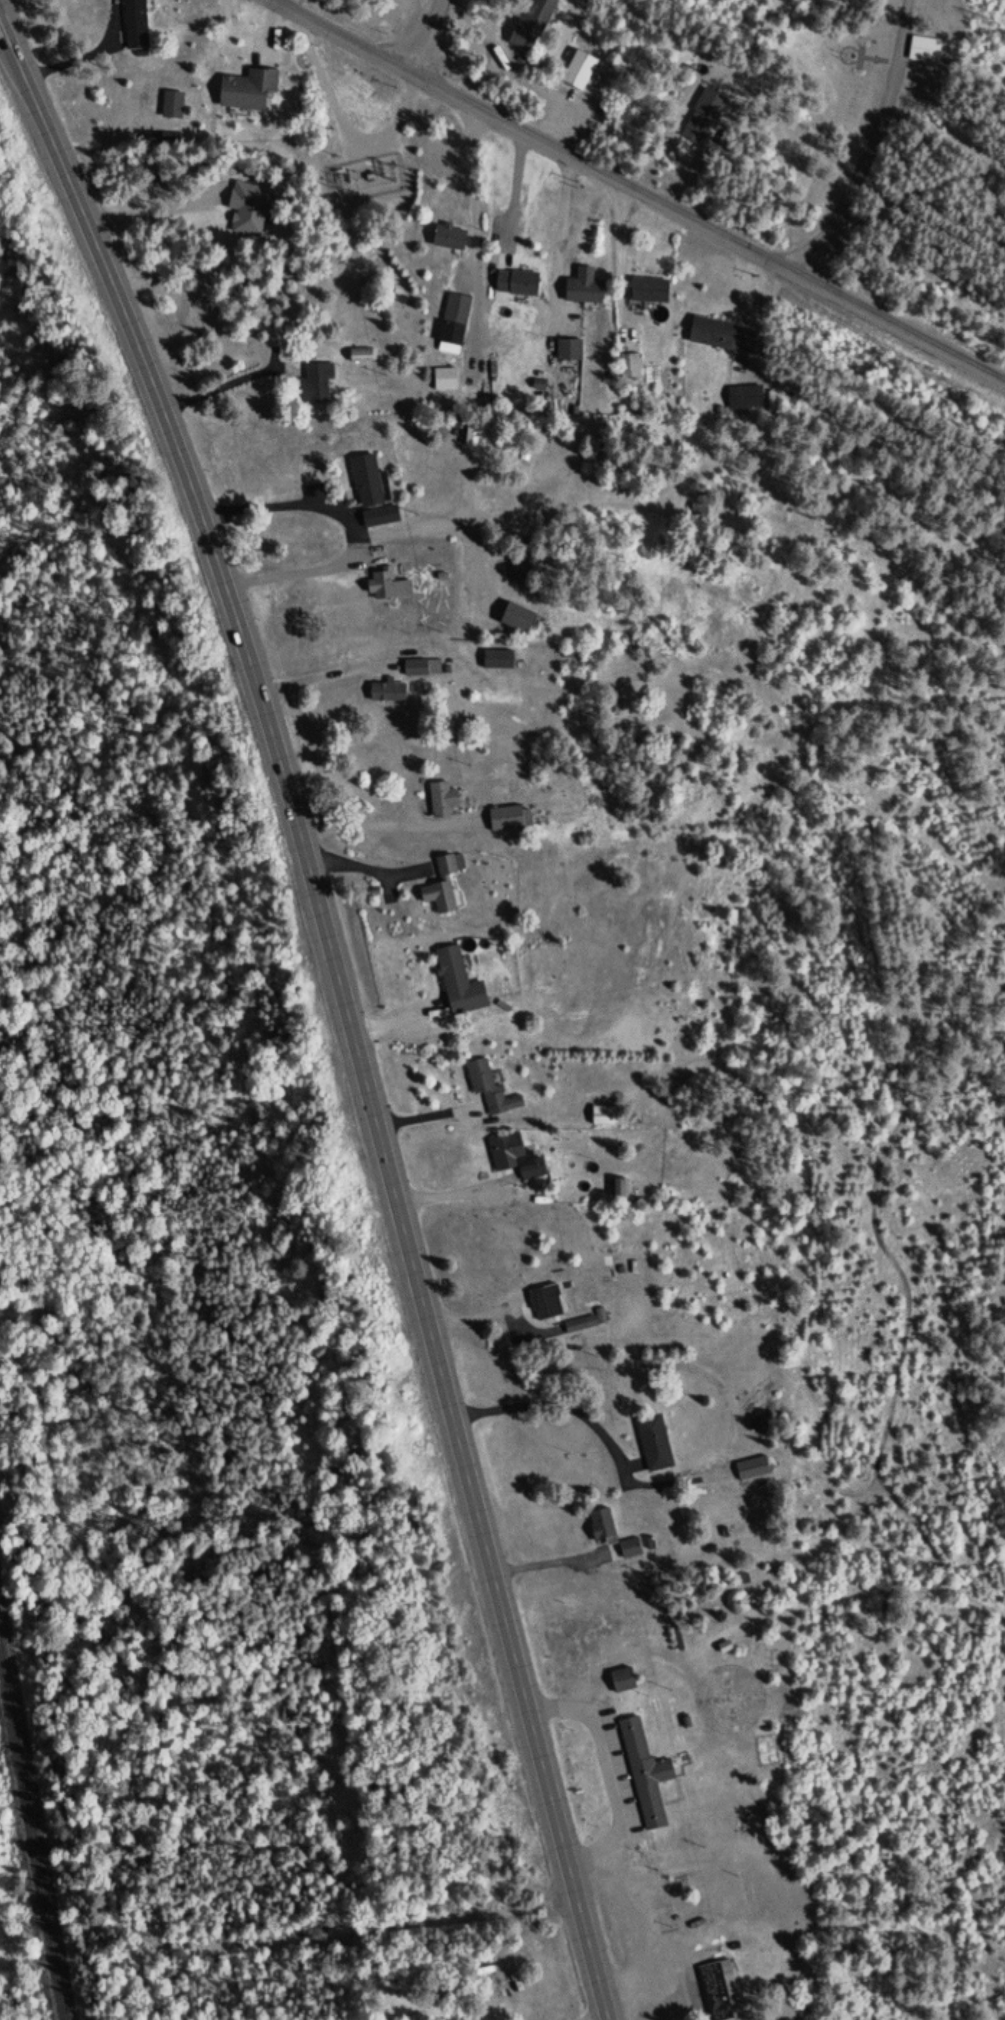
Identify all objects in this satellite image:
park: (881, 10)
building: (135, 24)
building: (531, 24)
road: (427, 37)
building: (925, 50)
building: (578, 73)
building: (247, 89)
building: (172, 105)
building: (697, 128)
road: (873, 146)
road: (926, 185)
road: (636, 192)
building: (249, 210)
road: (155, 216)
building: (449, 239)
building: (517, 285)
building: (649, 292)
building: (583, 293)
building: (398, 297)
building: (454, 325)
building: (722, 336)
building: (569, 351)
building: (630, 368)
building: (445, 381)
building: (316, 385)
building: (745, 399)
building: (440, 432)
building: (594, 454)
building: (367, 483)
building: (380, 518)
building: (388, 587)
building: (517, 620)
building: (498, 661)
building: (422, 669)
road: (693, 685)
building: (388, 694)
building: (442, 802)
building: (508, 820)
road: (898, 824)
building: (441, 888)
building: (459, 985)
road: (347, 1006)
building: (491, 1090)
building: (602, 1117)
building: (515, 1158)
building: (619, 1190)
building: (546, 1303)
building: (654, 1445)
building: (752, 1471)
building: (601, 1527)
building: (631, 1552)
building: (774, 1665)
building: (622, 1681)
building: (645, 1776)
railway: (32, 1833)
road: (123, 1842)
building: (720, 1992)

